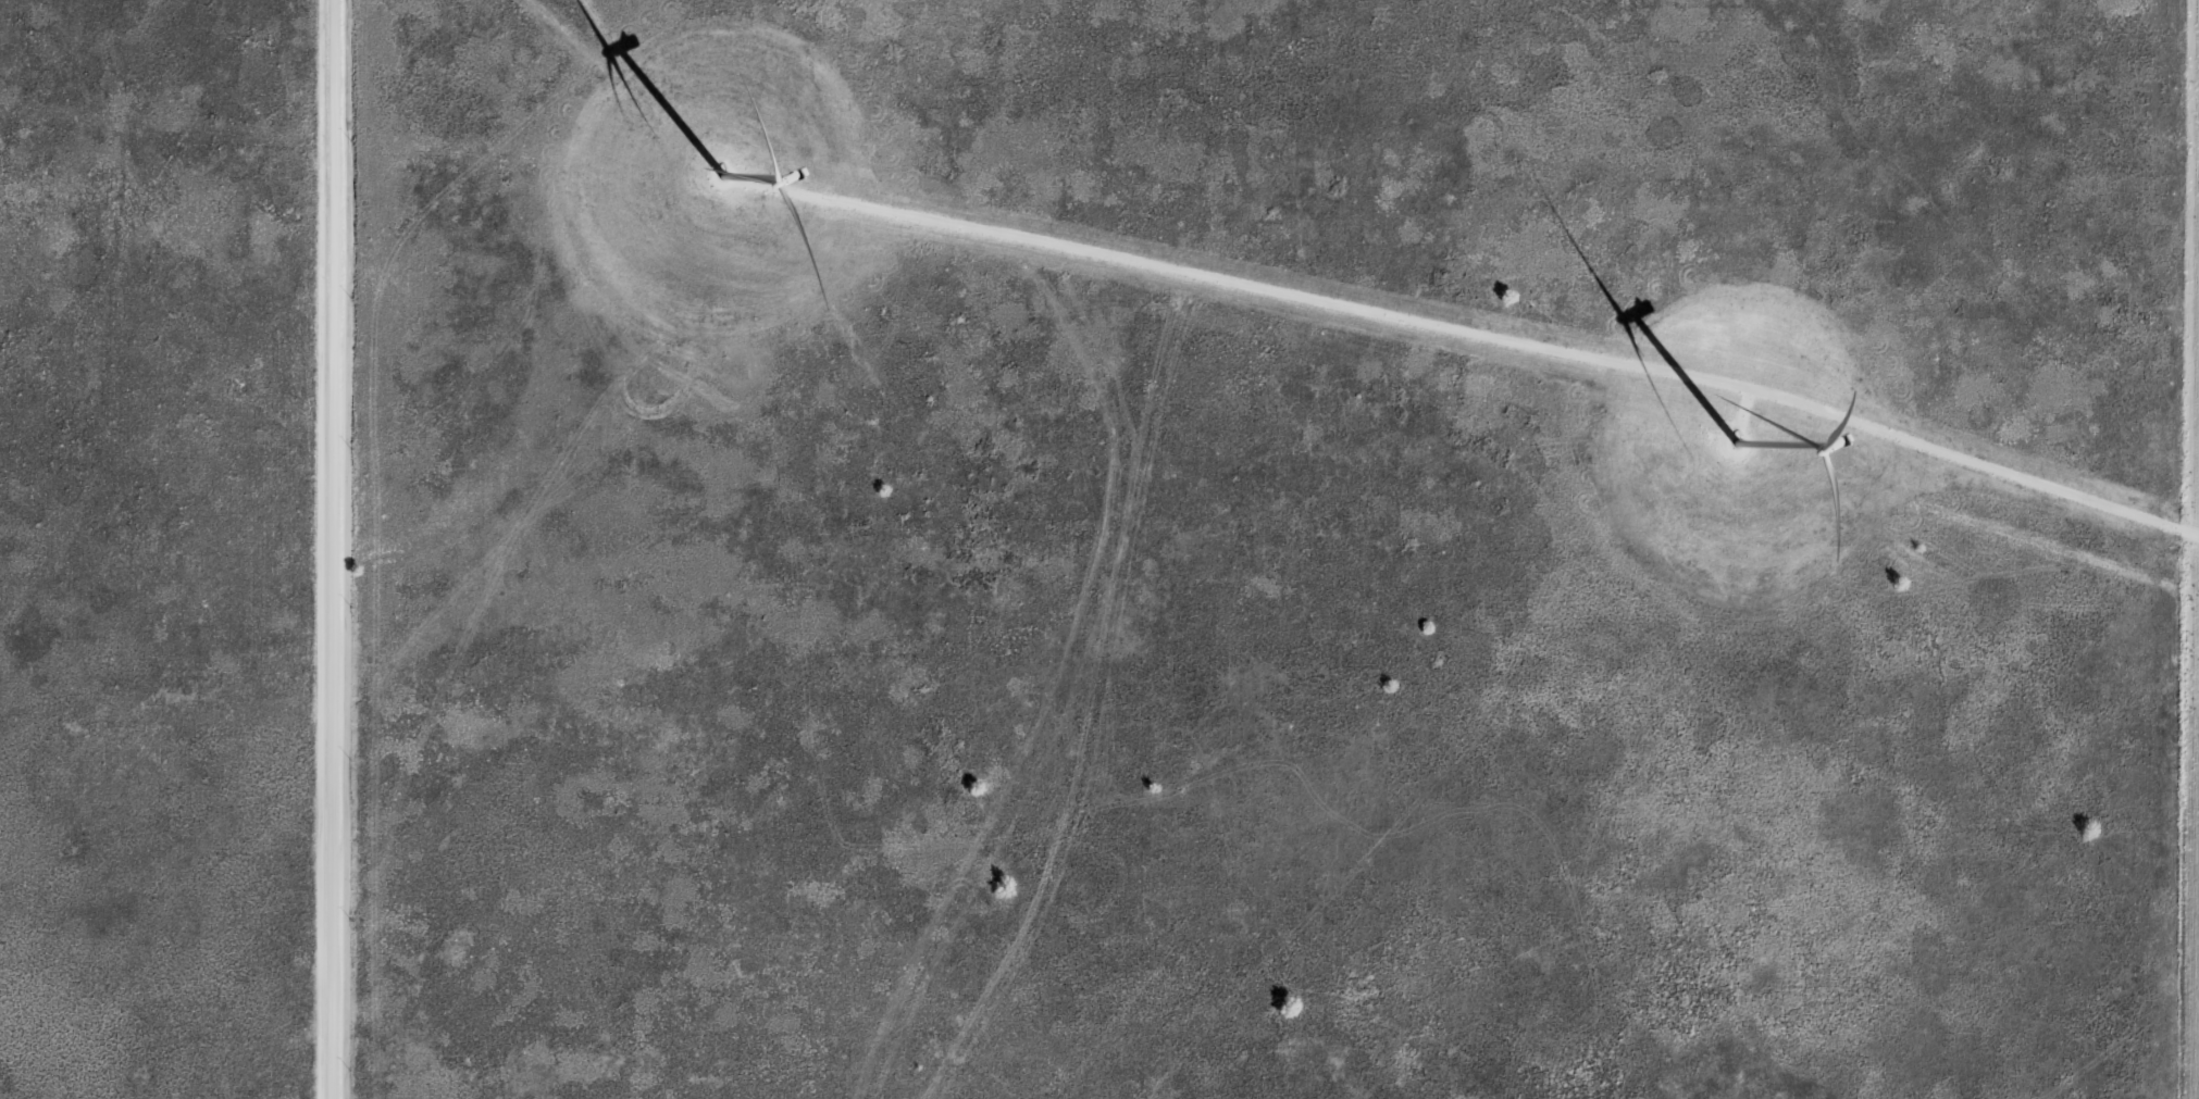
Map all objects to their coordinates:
wind turbine: (715, 178)
wind turbine: (1732, 445)
road: (364, 549)

